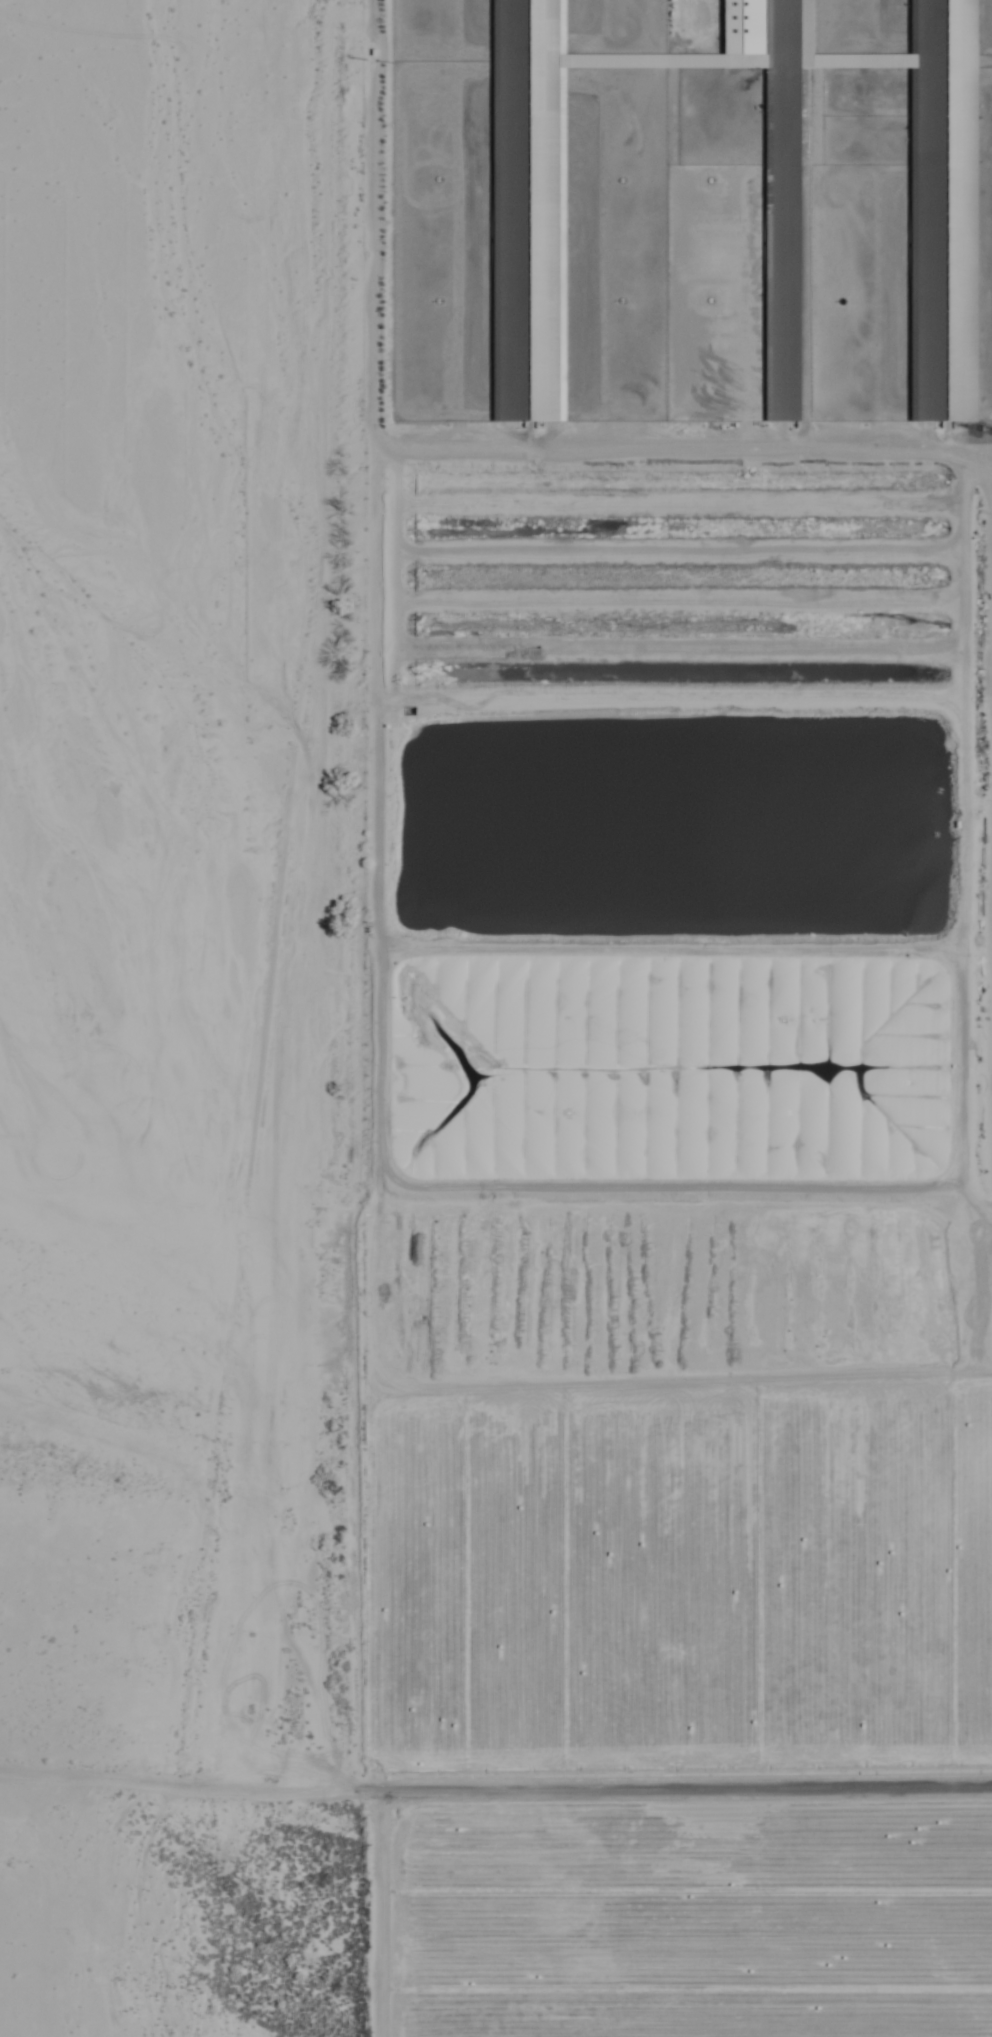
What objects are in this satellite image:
building: (775, 172)
building: (521, 210)
building: (942, 210)
crop: (676, 1021)
building: (641, 1074)
road: (495, 1795)

